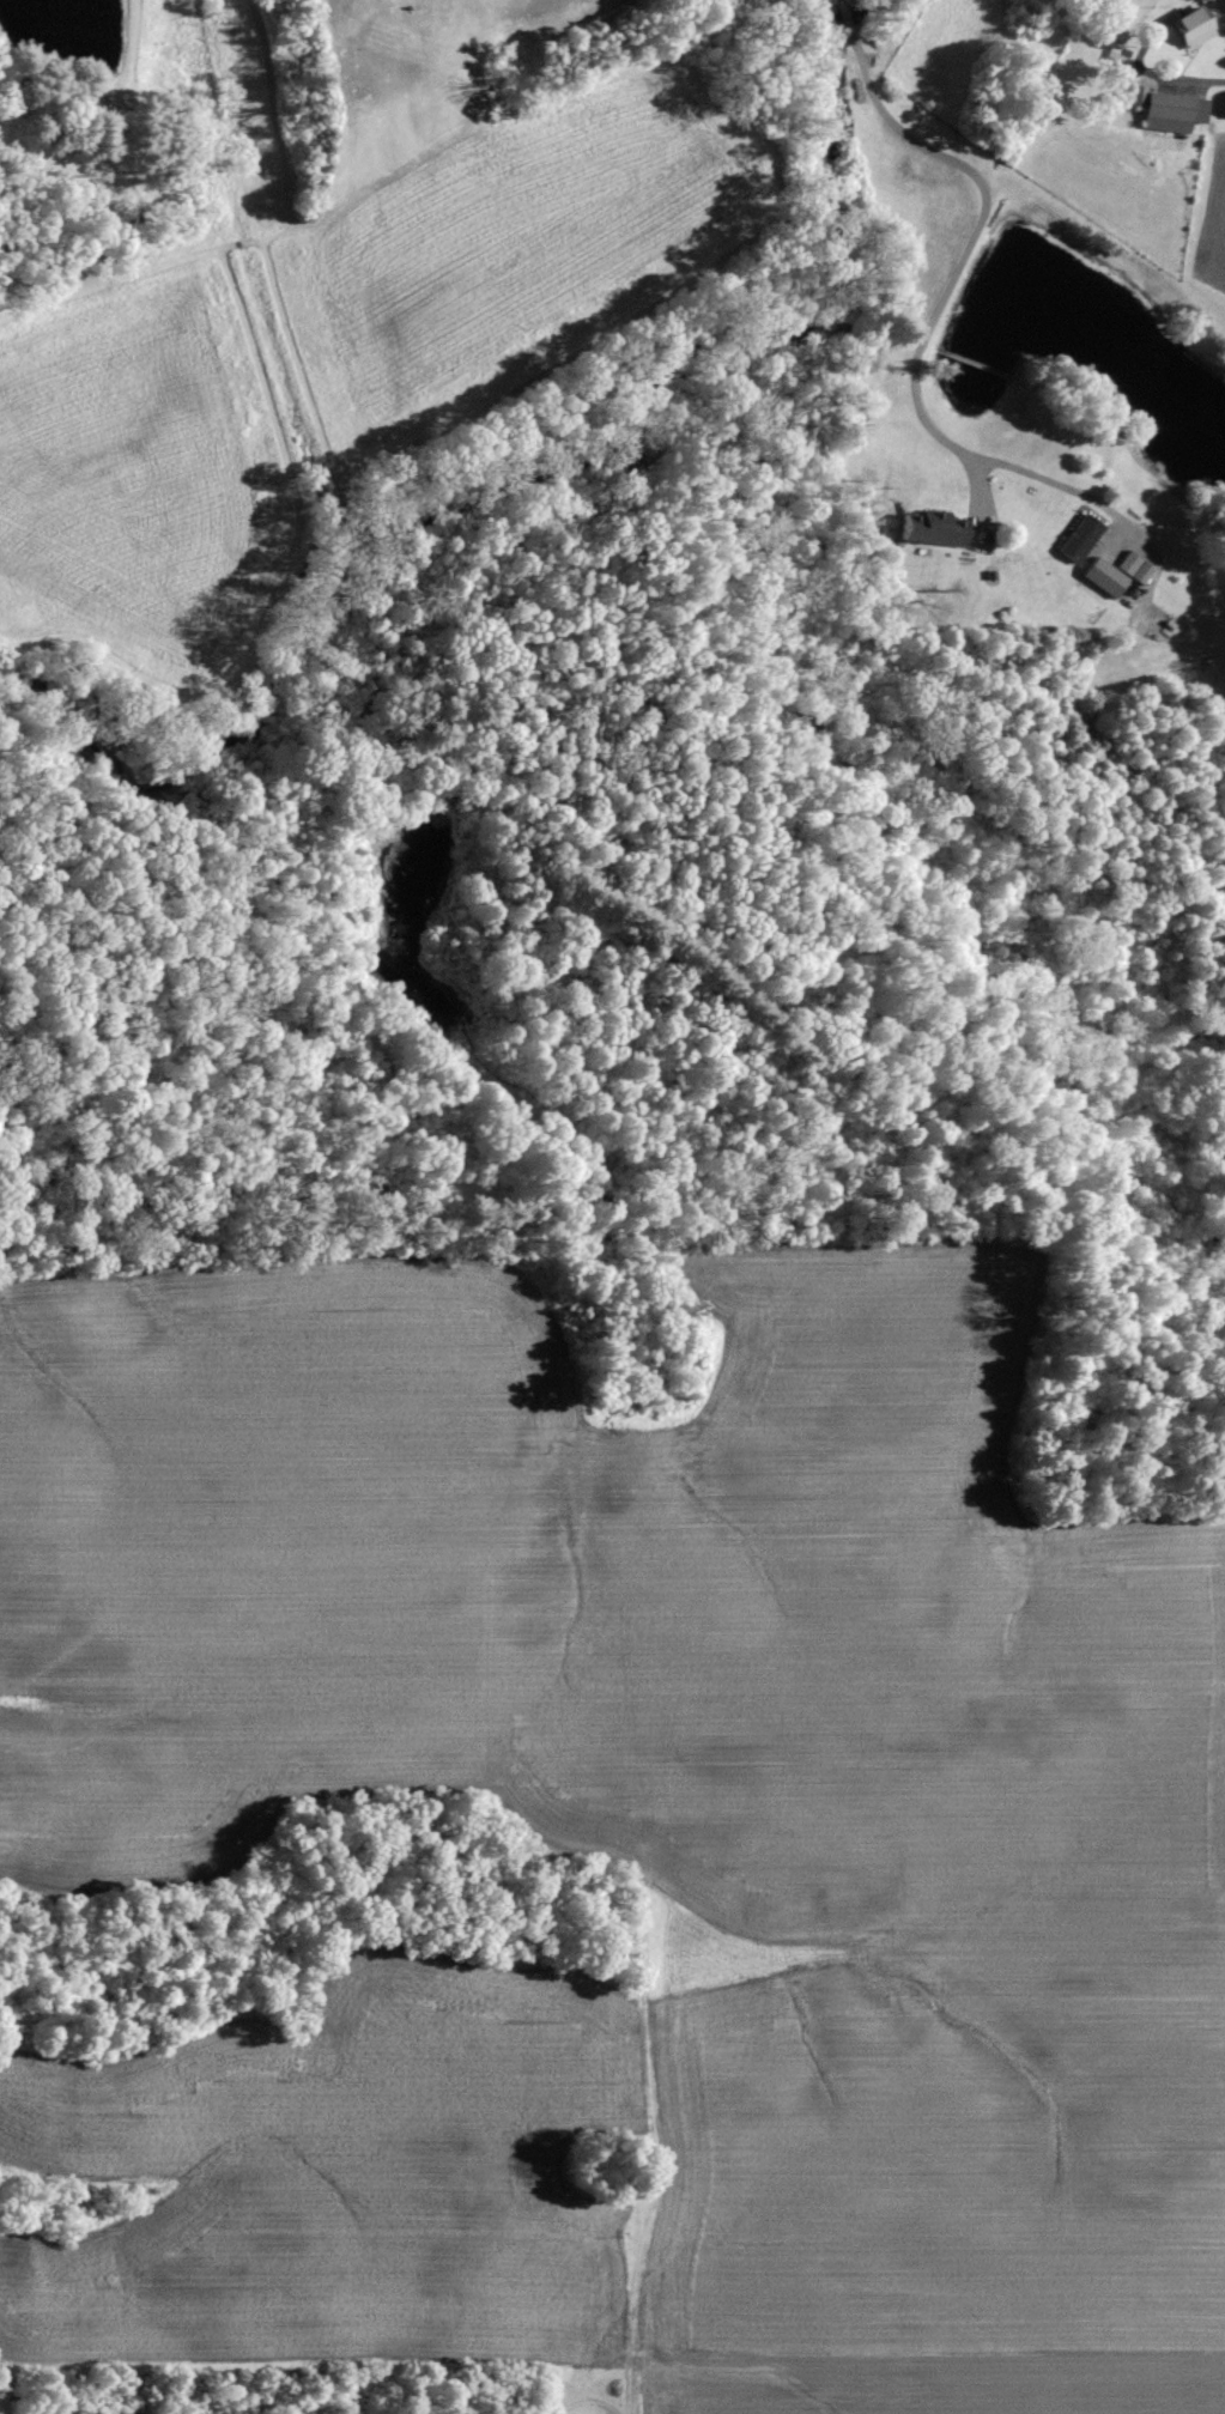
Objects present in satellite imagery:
building: (1190, 28)
building: (1169, 110)
road: (939, 303)
building: (930, 528)
building: (1079, 539)
building: (1133, 568)
building: (1103, 577)

